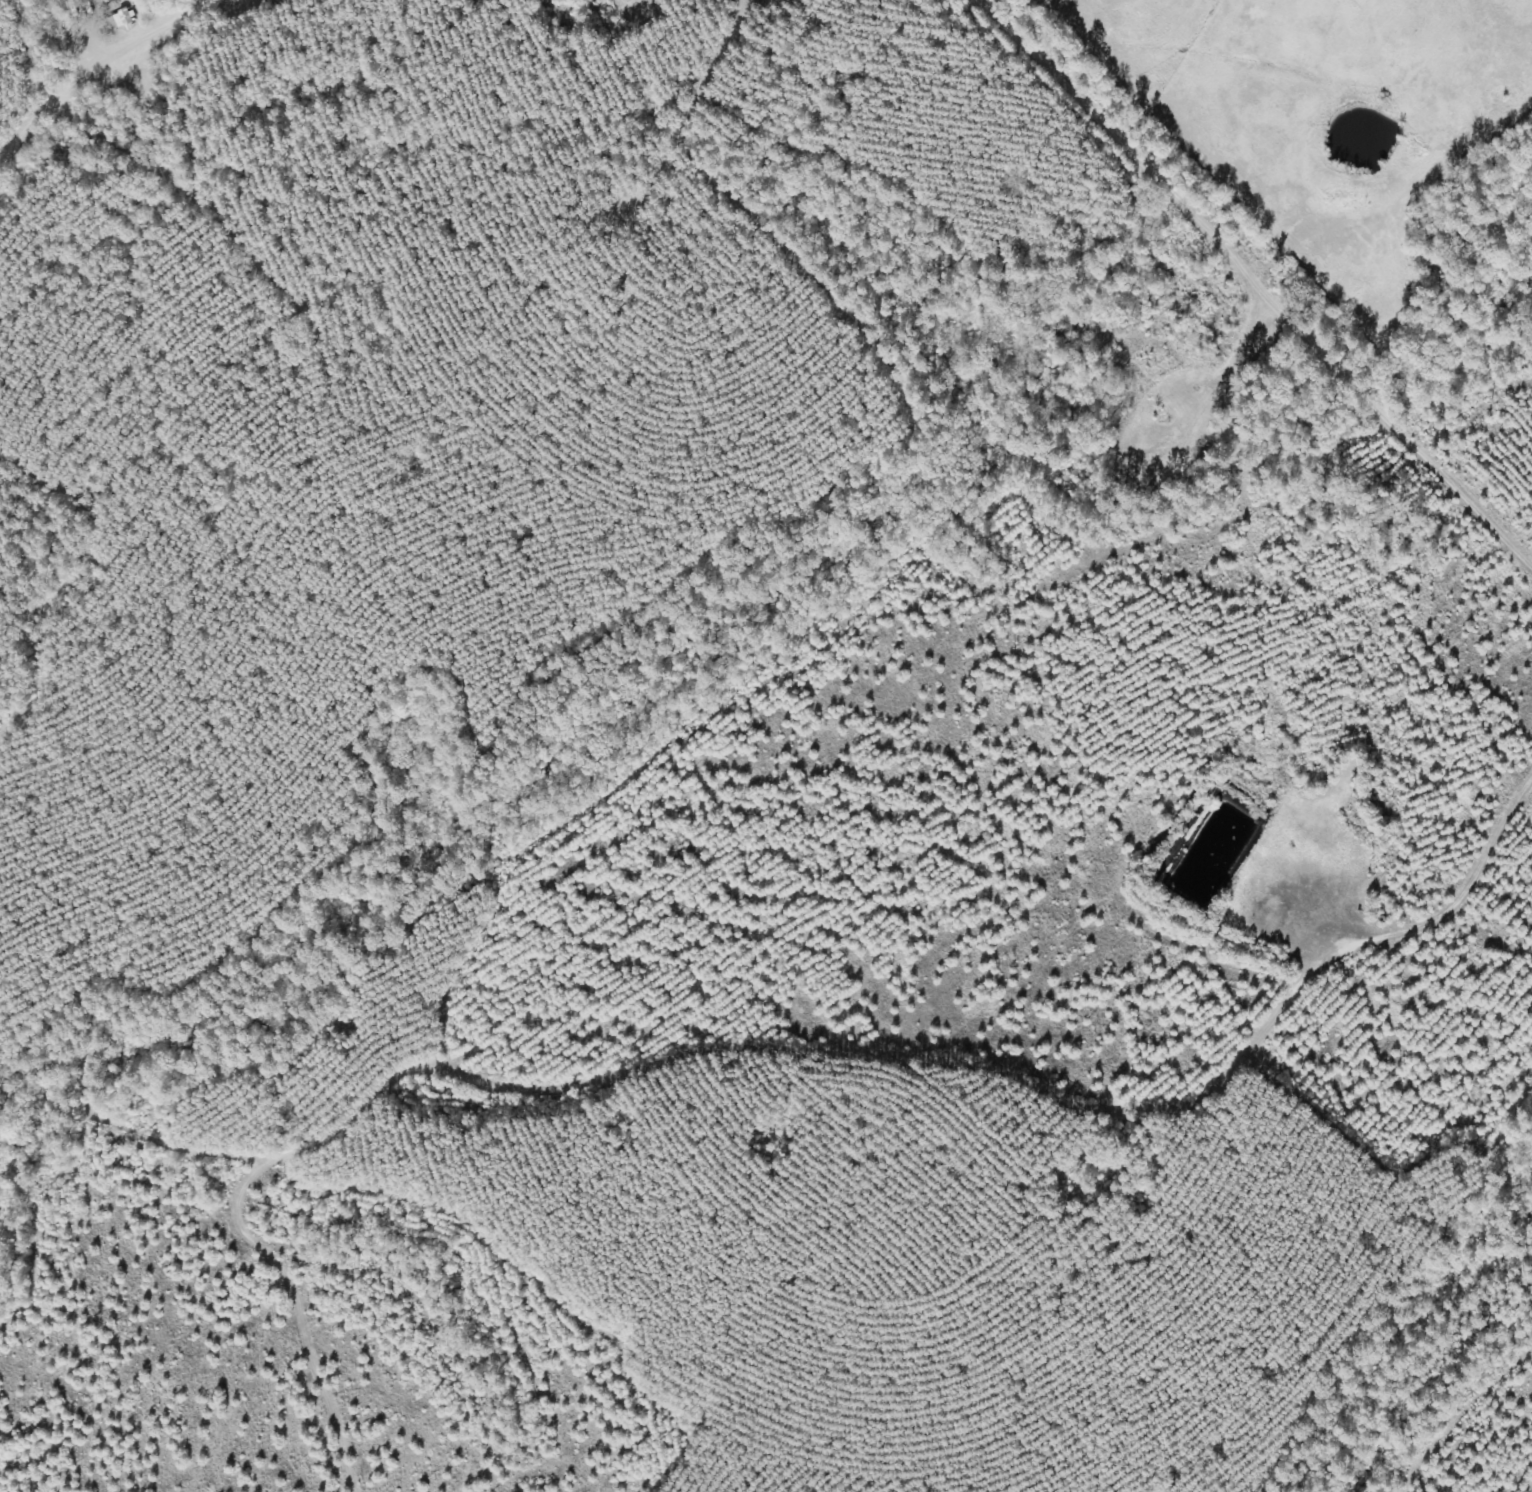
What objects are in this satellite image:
road: (119, 85)
road: (1209, 223)
road: (1486, 478)

